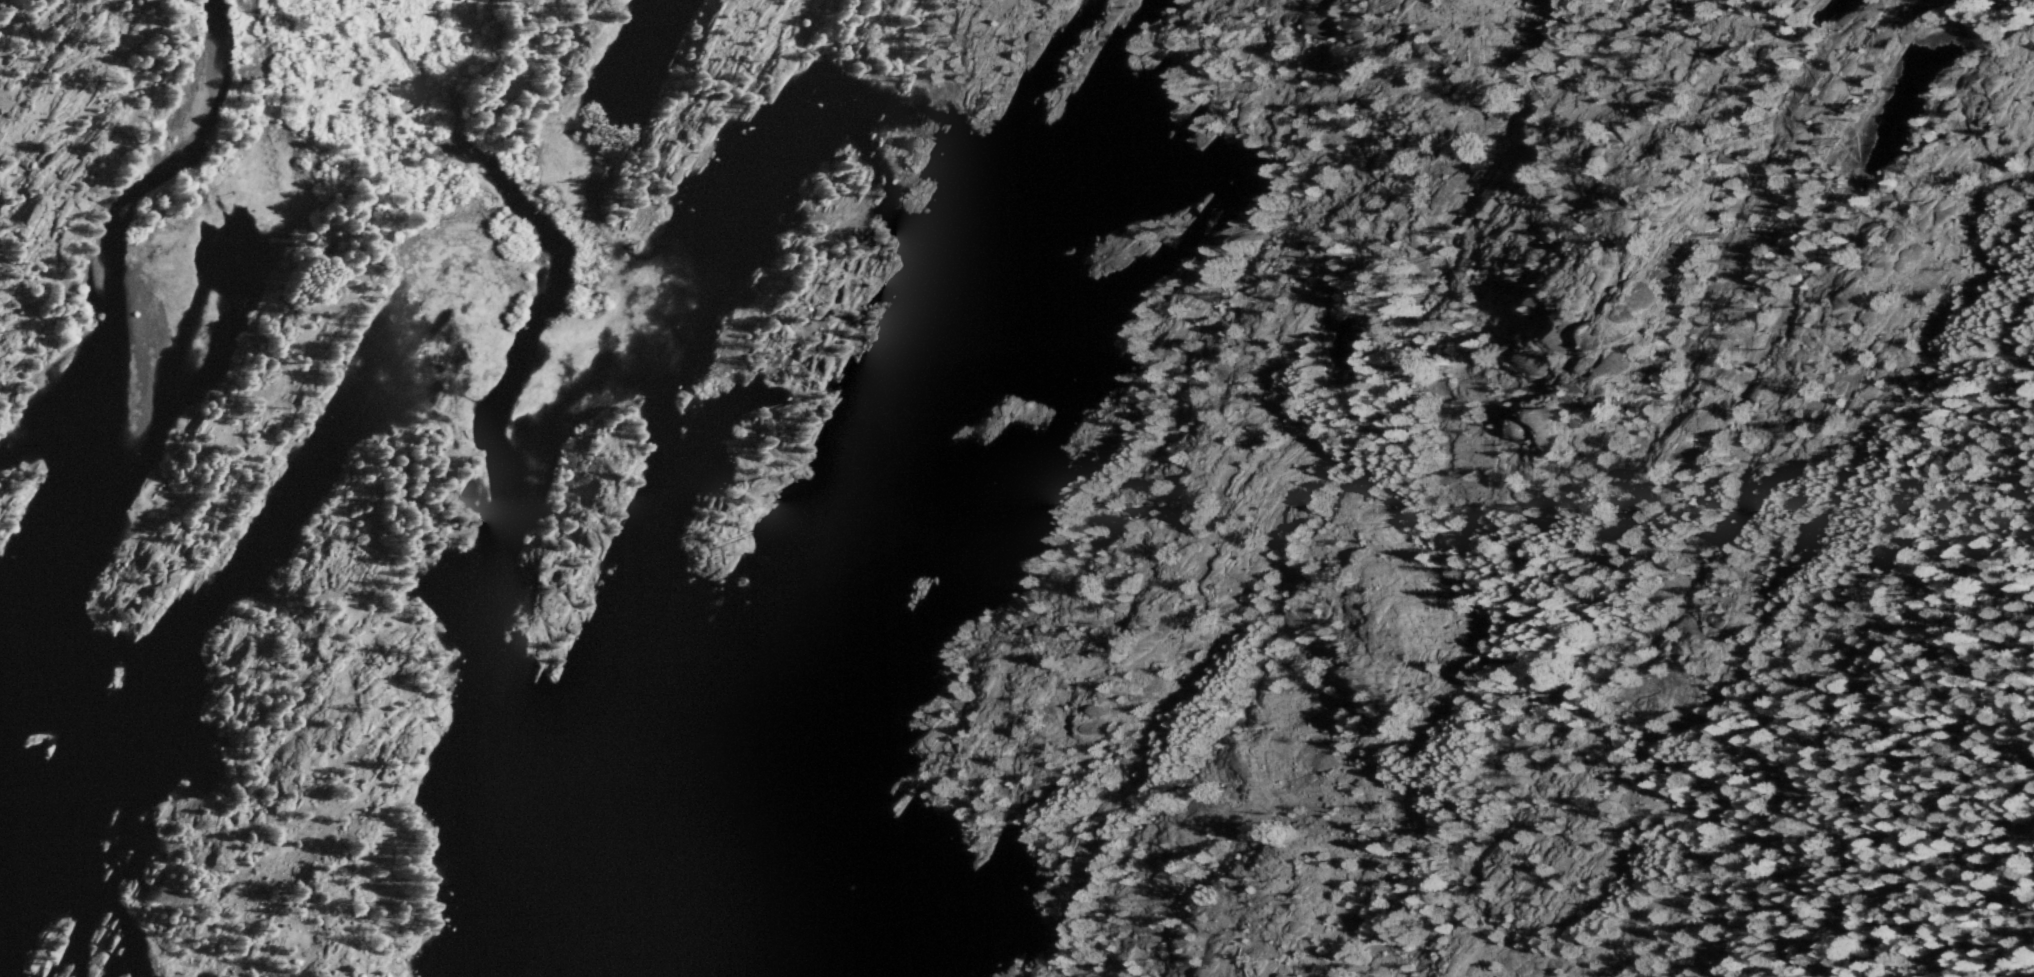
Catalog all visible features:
road: (1833, 685)

